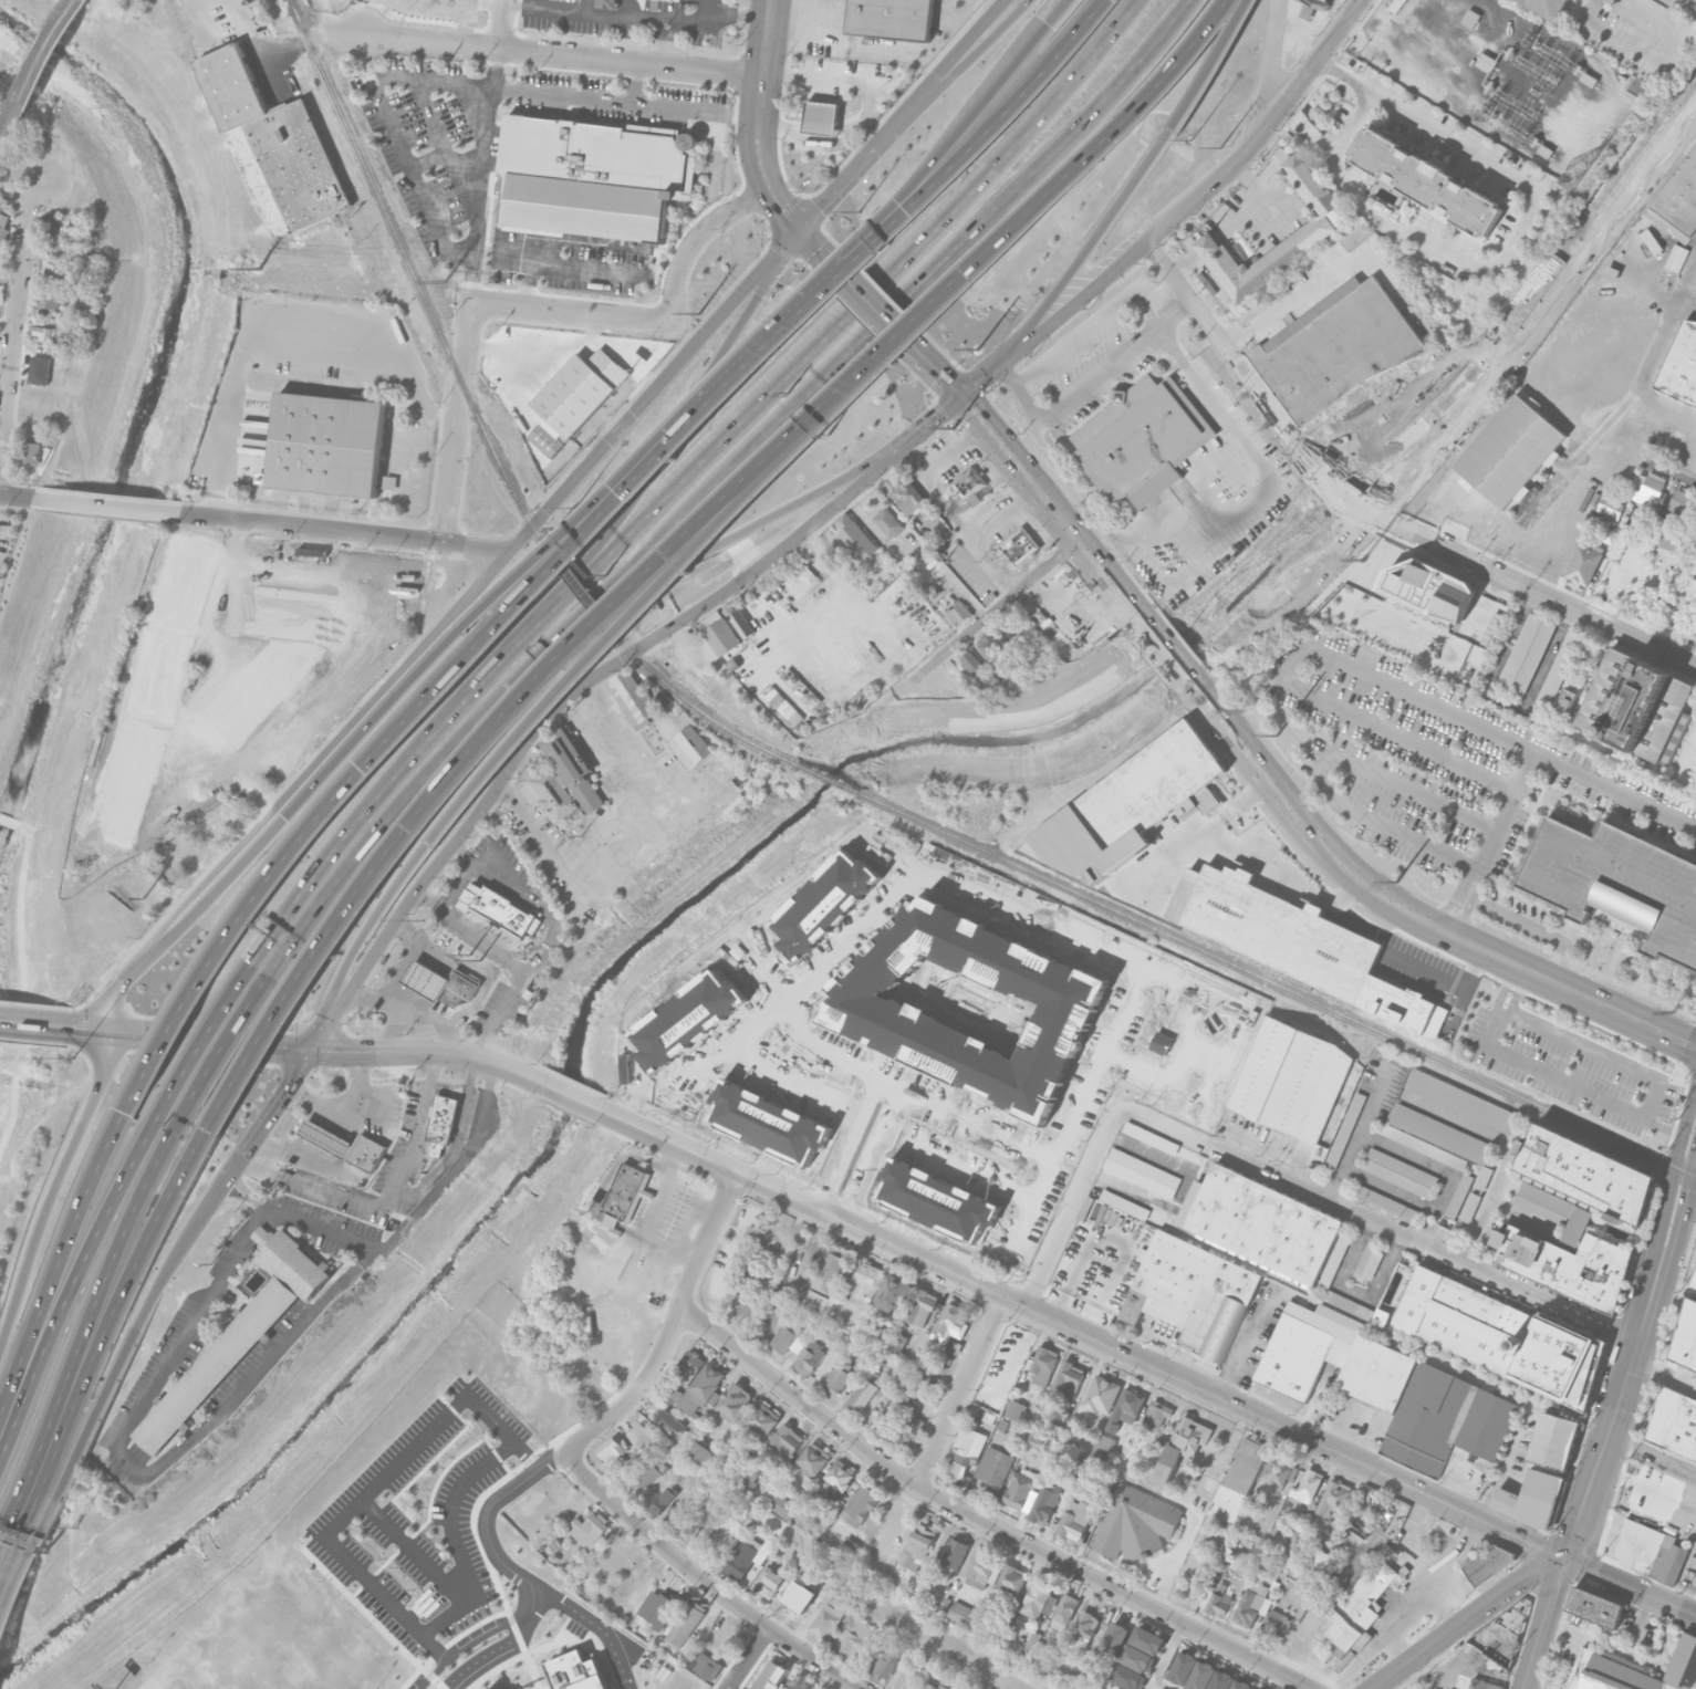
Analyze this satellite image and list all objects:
road: (1006, 0)
building: (607, 3)
building: (1317, 3)
building: (1394, 4)
road: (1062, 7)
building: (1548, 7)
road: (606, 14)
road: (739, 17)
building: (1469, 18)
building: (892, 19)
road: (807, 22)
road: (709, 23)
road: (501, 24)
road: (313, 34)
road: (1351, 37)
road: (664, 43)
road: (899, 51)
road: (564, 55)
road: (1653, 56)
railway: (35, 58)
building: (1485, 62)
road: (1271, 65)
road: (1207, 70)
road: (956, 71)
power substation: (1503, 77)
building: (1588, 80)
road: (760, 96)
road: (580, 98)
road: (867, 108)
road: (675, 110)
building: (821, 117)
railway: (2, 118)
building: (1307, 129)
building: (275, 147)
power tower: (1221, 148)
building: (1544, 150)
power tower: (1569, 171)
building: (593, 176)
road: (947, 176)
road: (413, 179)
road: (920, 180)
building: (1428, 180)
road: (1278, 196)
building: (1681, 197)
road: (1263, 206)
road: (785, 210)
road: (1178, 215)
building: (1326, 223)
building: (2, 228)
traffic signals: (801, 229)
building: (64, 233)
building: (1353, 233)
road: (696, 238)
road: (1210, 247)
road: (1510, 247)
road: (1084, 249)
road: (819, 250)
road: (63, 253)
building: (1676, 258)
road: (1186, 264)
power tower: (258, 265)
railway: (412, 270)
building: (61, 275)
power tower: (439, 281)
road: (873, 290)
road: (14, 293)
building: (50, 299)
road: (899, 300)
building: (86, 302)
road: (871, 304)
power tower: (698, 311)
road: (1154, 312)
road: (280, 315)
road: (469, 323)
road: (1096, 325)
road: (1666, 331)
building: (53, 335)
road: (769, 343)
road: (539, 345)
power tower: (979, 350)
building: (1338, 351)
road: (325, 356)
road: (1111, 364)
road: (933, 366)
building: (1681, 366)
building: (39, 369)
building: (581, 390)
road: (1022, 394)
traffic signals: (961, 396)
road: (199, 402)
road: (1217, 406)
road: (1668, 408)
road: (971, 409)
road: (684, 415)
road: (933, 421)
power tower: (954, 427)
building: (549, 436)
building: (1135, 438)
building: (327, 444)
building: (1511, 451)
building: (30, 452)
road: (941, 459)
road: (1207, 465)
road: (1685, 477)
building: (969, 482)
building: (1653, 487)
building: (981, 493)
road: (13, 494)
building: (909, 498)
building: (1681, 503)
road: (106, 505)
building: (1610, 505)
road: (547, 510)
road: (1371, 515)
road: (1060, 520)
building: (888, 522)
building: (1644, 522)
road: (347, 532)
road: (981, 532)
road: (688, 536)
building: (854, 536)
road: (725, 539)
building: (1668, 543)
building: (1019, 544)
power tower: (1363, 561)
building: (1583, 564)
park: (1655, 569)
road: (1163, 572)
road: (519, 577)
road: (841, 581)
railway: (575, 584)
road: (561, 590)
road: (568, 591)
building: (1429, 591)
road: (656, 593)
road: (592, 603)
building: (958, 612)
road: (828, 616)
building: (710, 619)
road: (978, 623)
road: (568, 628)
building: (718, 638)
building: (991, 647)
road: (1163, 648)
building: (1526, 654)
building: (1478, 657)
road: (1289, 663)
building: (978, 669)
building: (633, 698)
building: (1564, 701)
road: (564, 707)
railway: (697, 707)
building: (1636, 707)
power tower: (1245, 710)
road: (418, 711)
building: (299, 729)
power tower: (1277, 734)
building: (690, 747)
road: (1555, 762)
road: (1325, 767)
building: (574, 770)
railway: (829, 778)
building: (1144, 791)
building: (550, 794)
road: (368, 805)
road: (385, 819)
road: (10, 821)
road: (639, 848)
building: (828, 874)
power tower: (1398, 876)
building: (1619, 882)
road: (1454, 895)
road: (202, 904)
road: (1471, 904)
building: (509, 906)
road: (1405, 911)
road: (365, 925)
road: (1539, 927)
road: (873, 932)
building: (1296, 945)
building: (971, 951)
road: (551, 952)
building: (709, 963)
road: (402, 970)
road: (486, 981)
road: (23, 983)
building: (441, 983)
railway: (1278, 983)
road: (1503, 990)
road: (1517, 990)
road: (358, 994)
building: (444, 1009)
road: (500, 1013)
power tower: (1672, 1013)
road: (397, 1016)
road: (32, 1021)
road: (85, 1028)
building: (805, 1029)
traffic signals: (105, 1030)
building: (1186, 1033)
road: (448, 1038)
road: (207, 1040)
road: (221, 1043)
road: (198, 1044)
traffic signals: (309, 1050)
road: (427, 1053)
parking lot: (1577, 1059)
road: (1099, 1064)
road: (1173, 1067)
building: (918, 1071)
road: (891, 1084)
road: (1209, 1084)
building: (771, 1092)
road: (572, 1095)
building: (1461, 1101)
road: (342, 1108)
road: (269, 1112)
road: (1647, 1112)
road: (358, 1114)
building: (443, 1118)
road: (1663, 1127)
building: (1440, 1134)
building: (909, 1143)
building: (345, 1145)
building: (1424, 1147)
road: (1505, 1148)
road: (455, 1151)
road: (1695, 1151)
road: (454, 1169)
road: (1674, 1171)
building: (1400, 1172)
road: (51, 1188)
road: (241, 1189)
building: (624, 1192)
road: (384, 1199)
road: (233, 1200)
road: (1690, 1201)
building: (1387, 1203)
road: (1683, 1203)
road: (1033, 1205)
road: (1072, 1206)
building: (1573, 1217)
road: (1380, 1220)
building: (1261, 1222)
building: (1011, 1229)
building: (982, 1233)
building: (750, 1239)
road: (59, 1260)
road: (81, 1262)
building: (1369, 1262)
road: (659, 1263)
road: (678, 1265)
building: (829, 1272)
building: (1694, 1281)
building: (865, 1283)
road: (668, 1287)
building: (1694, 1289)
building: (892, 1293)
building: (1192, 1294)
building: (819, 1303)
road: (93, 1304)
building: (920, 1307)
road: (656, 1314)
building: (1381, 1317)
building: (950, 1325)
road: (672, 1327)
road: (103, 1331)
road: (1081, 1333)
building: (834, 1334)
building: (1502, 1335)
building: (1686, 1336)
building: (788, 1337)
building: (233, 1339)
road: (1404, 1345)
building: (955, 1347)
road: (121, 1358)
building: (810, 1358)
building: (1043, 1365)
building: (690, 1367)
road: (1663, 1375)
building: (839, 1376)
building: (1069, 1378)
building: (704, 1389)
building: (1390, 1389)
road: (960, 1391)
building: (1102, 1395)
building: (861, 1396)
building: (733, 1403)
road: (1615, 1406)
building: (1125, 1408)
building: (1015, 1409)
building: (1156, 1414)
building: (673, 1419)
building: (886, 1419)
building: (761, 1420)
building: (1674, 1420)
building: (909, 1430)
road: (197, 1435)
building: (1069, 1437)
road: (1231, 1439)
building: (787, 1440)
building: (1554, 1440)
building: (735, 1445)
building: (613, 1447)
building: (1102, 1448)
building: (1180, 1448)
building: (965, 1451)
road: (1651, 1453)
building: (703, 1455)
building: (638, 1456)
building: (812, 1460)
building: (1075, 1462)
building: (993, 1466)
building: (1280, 1471)
building: (649, 1472)
building: (751, 1477)
building: (837, 1478)
building: (1239, 1480)
building: (1308, 1485)
building: (1207, 1488)
building: (1020, 1489)
road: (370, 1491)
building: (1333, 1499)
building: (1533, 1499)
building: (663, 1501)
building: (1043, 1504)
building: (781, 1505)
building: (860, 1505)
building: (676, 1511)
road: (486, 1515)
road: (897, 1519)
building: (1074, 1519)
road: (979, 1521)
building: (1134, 1523)
building: (689, 1526)
building: (590, 1530)
building: (1291, 1530)
road: (454, 1540)
building: (1219, 1541)
road: (1, 1546)
building: (917, 1546)
building: (1650, 1551)
road: (414, 1552)
building: (746, 1556)
traffic signals: (1563, 1556)
building: (953, 1558)
building: (1322, 1565)
building: (1485, 1565)
building: (836, 1567)
building: (981, 1570)
road: (9, 1573)
building: (1010, 1579)
road: (703, 1582)
building: (773, 1582)
road: (1630, 1584)
road: (15, 1592)
building: (798, 1599)
building: (1038, 1601)
building: (1216, 1601)
road: (1444, 1601)
building: (1252, 1603)
road: (1405, 1603)
road: (533, 1606)
building: (1595, 1606)
building: (656, 1608)
building: (1351, 1610)
building: (1063, 1612)
building: (963, 1615)
building: (829, 1616)
road: (1467, 1619)
road: (1544, 1623)
building: (686, 1625)
building: (1276, 1625)
road: (600, 1627)
building: (1082, 1630)
road: (1570, 1630)
building: (1502, 1633)
building: (852, 1638)
building: (1115, 1638)
park: (272, 1640)
building: (1032, 1641)
road: (466, 1647)
road: (1394, 1647)
building: (1142, 1648)
road: (485, 1655)
road: (1164, 1656)
road: (747, 1657)
building: (883, 1660)
building: (705, 1665)
building: (1183, 1668)
building: (1634, 1670)
building: (578, 1672)
building: (1201, 1675)
building: (771, 1676)
building: (1127, 1677)
building: (1221, 1680)
building: (800, 1682)
building: (1473, 1683)
building: (1241, 1685)
building: (929, 1686)
road: (1155, 1687)
building: (1417, 1687)
building: (491, 1688)
building: (967, 1688)
building: (1253, 1688)
building: (1412, 1688)

